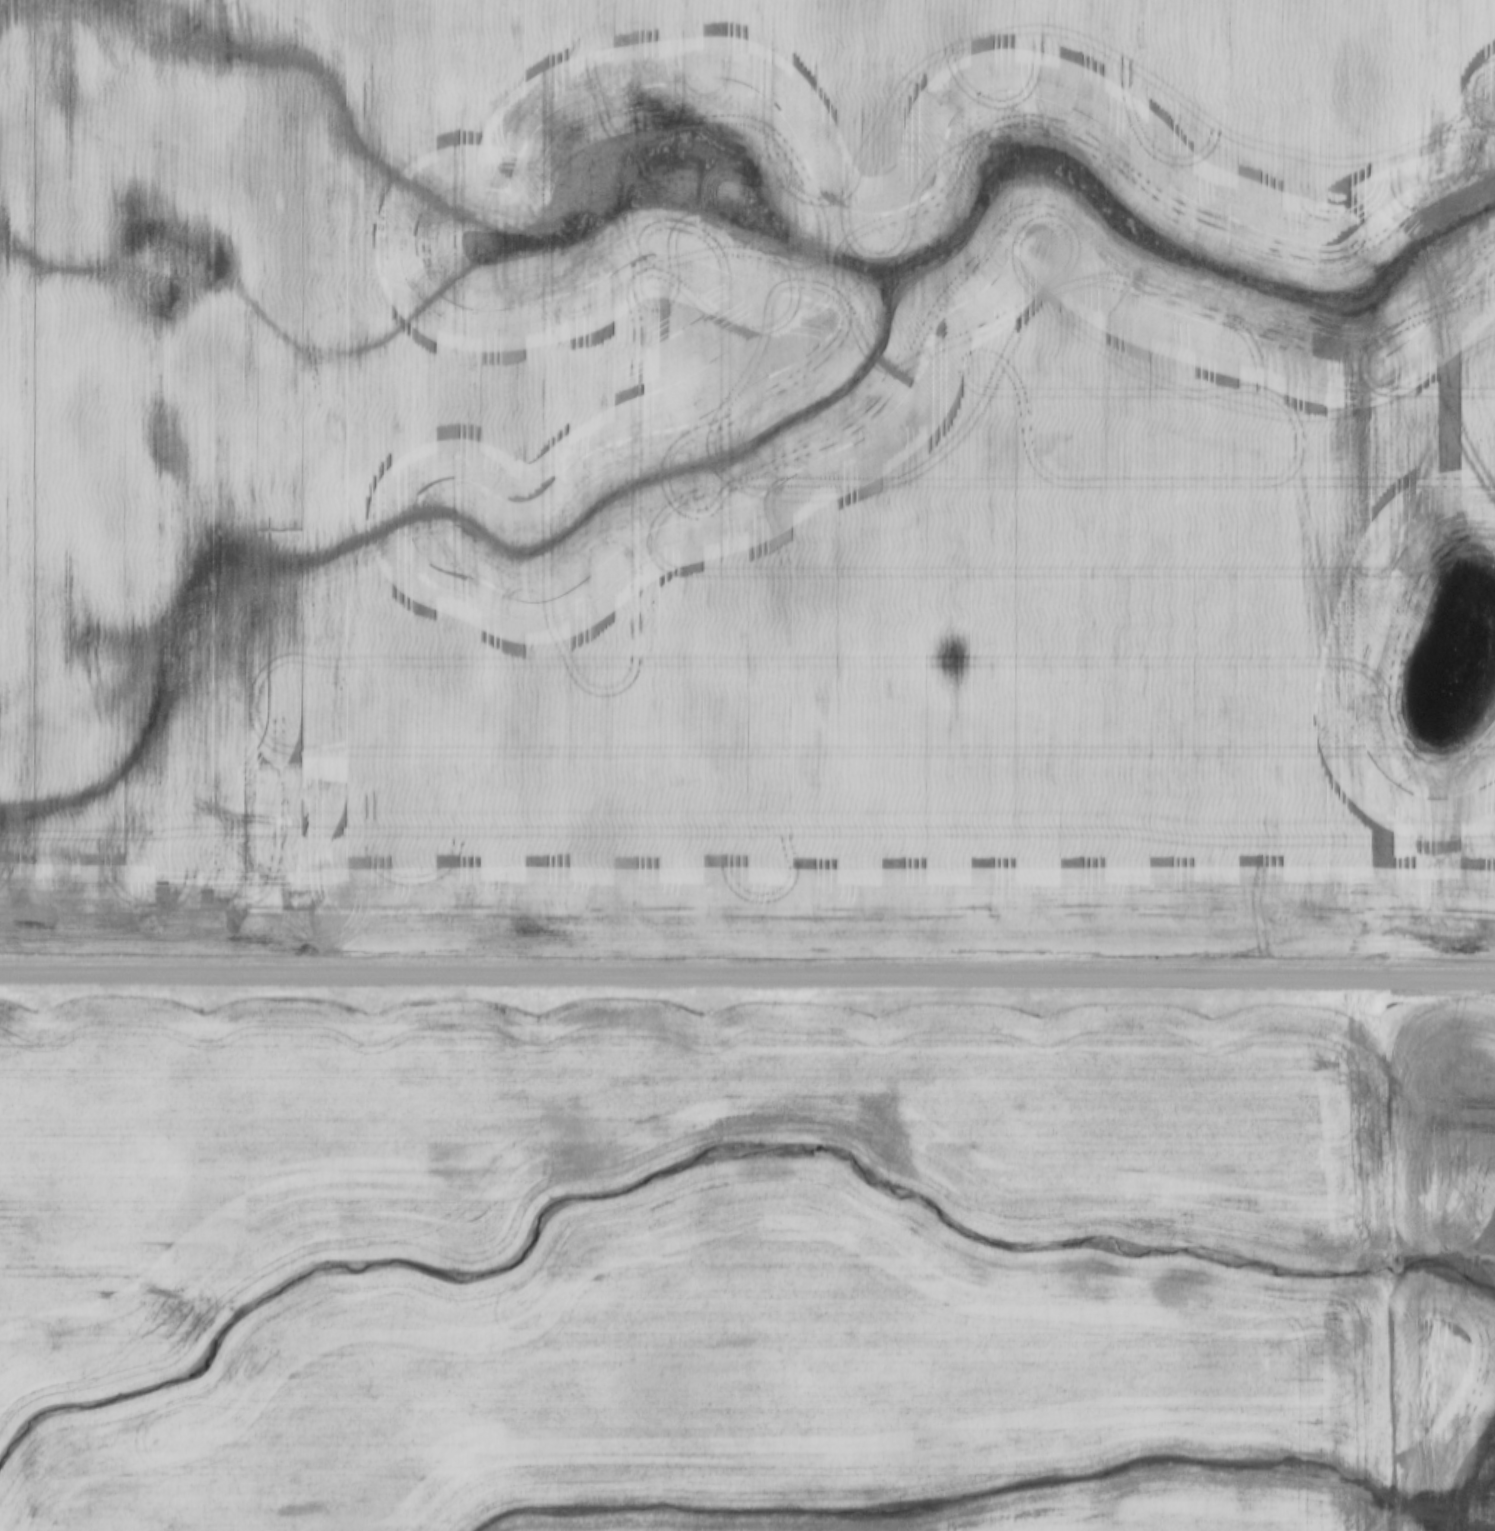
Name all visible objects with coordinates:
road: (747, 976)

